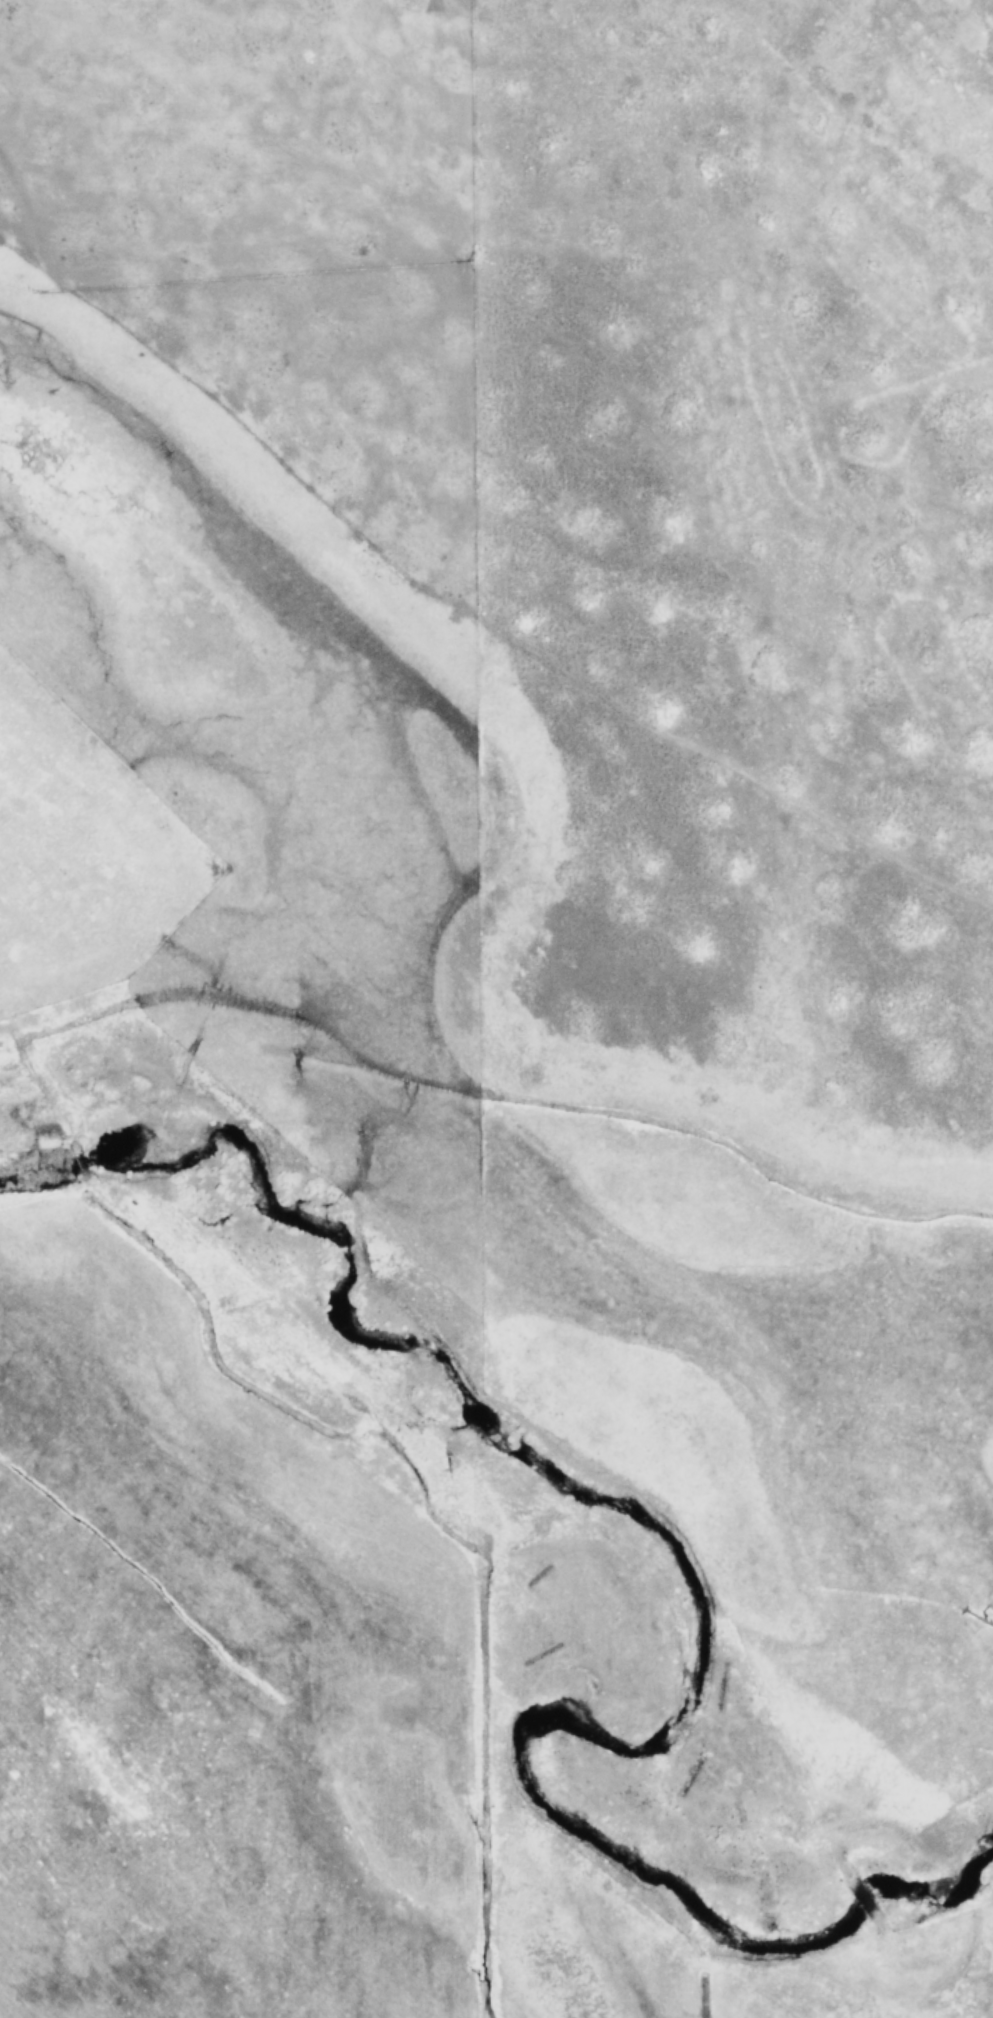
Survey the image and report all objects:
river: (688, 1563)

